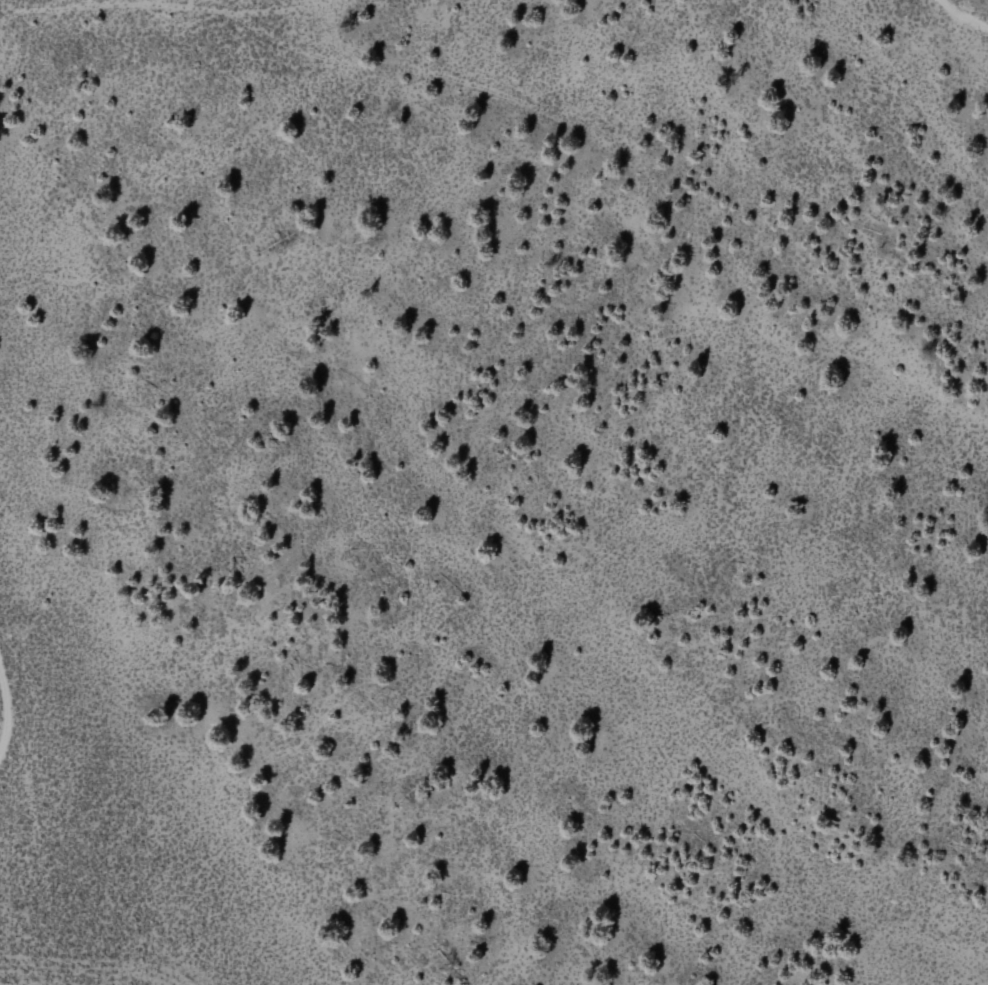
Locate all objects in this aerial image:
road: (295, 12)
road: (960, 16)
road: (907, 101)
road: (553, 119)
road: (10, 714)
road: (44, 840)

